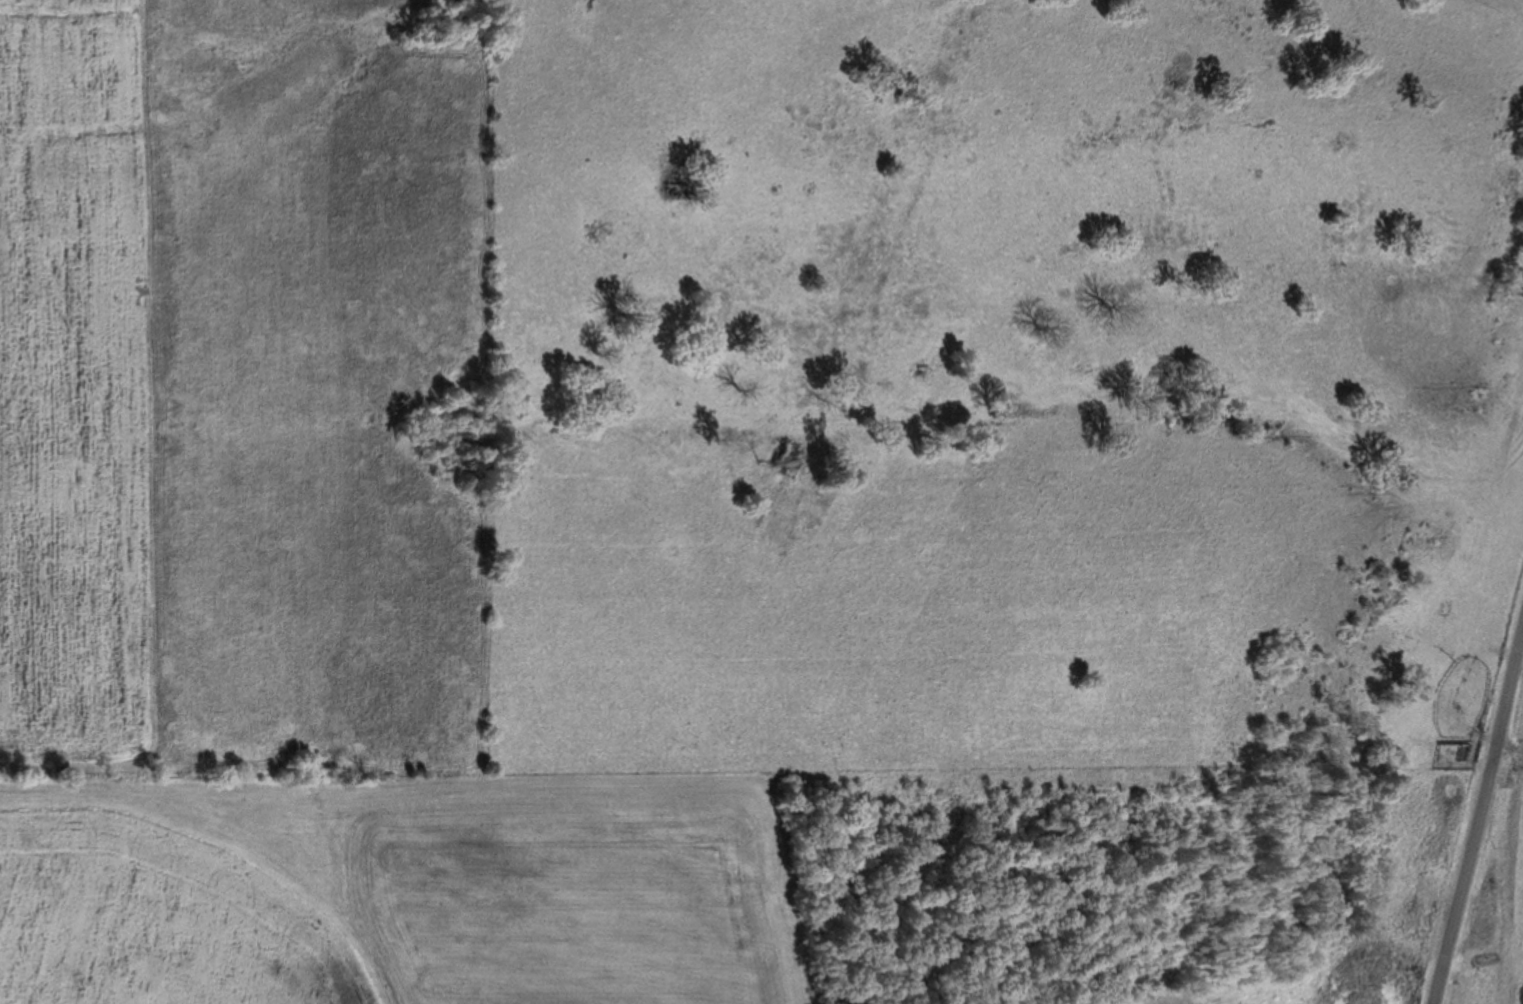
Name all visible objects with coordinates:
road: (1475, 801)

